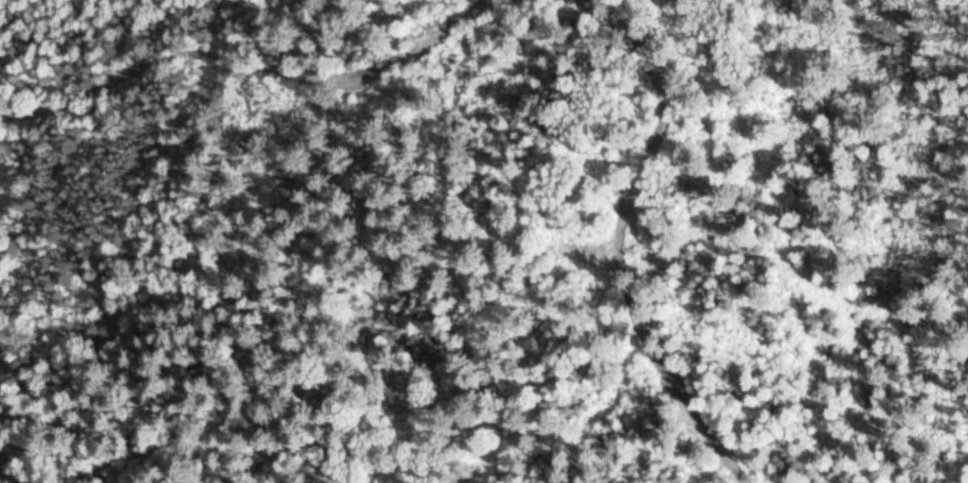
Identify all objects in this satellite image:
road: (631, 232)

